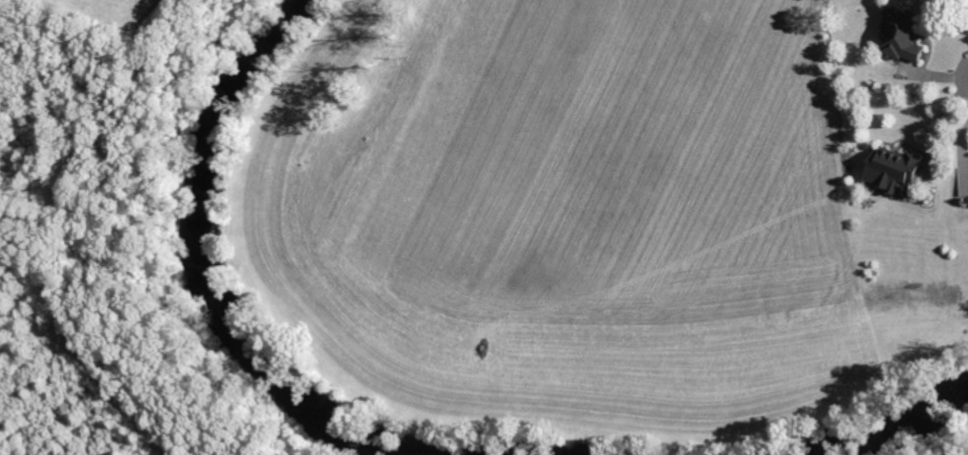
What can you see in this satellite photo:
building: (899, 35)
road: (943, 119)
building: (886, 168)
river: (206, 252)
river: (886, 428)

